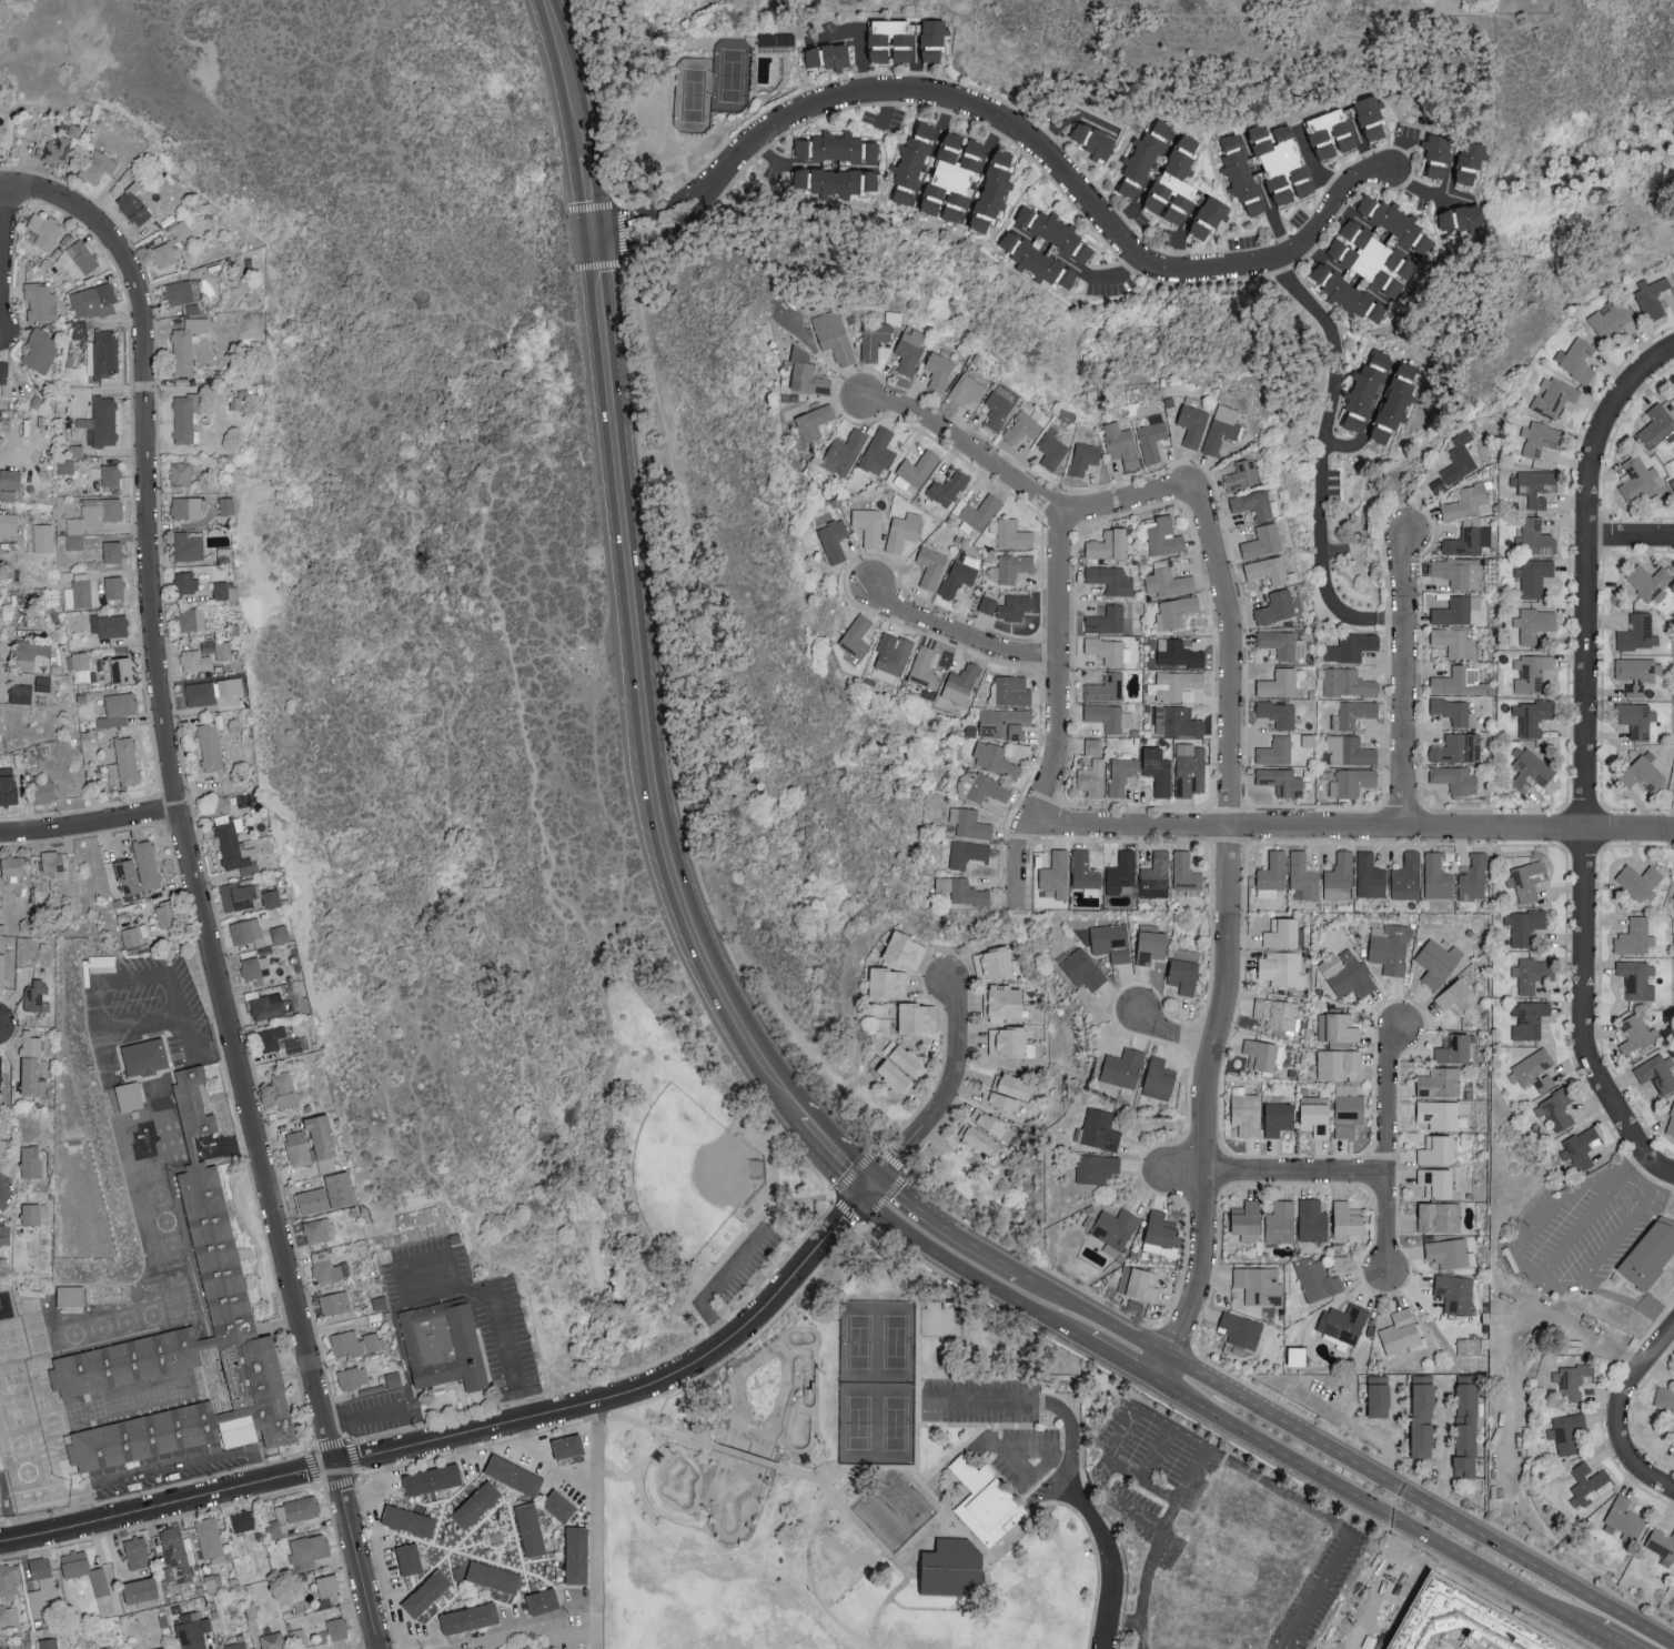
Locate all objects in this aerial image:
park: (1292, 2)
building: (776, 39)
building: (932, 39)
building: (890, 40)
building: (828, 56)
road: (565, 73)
park: (732, 76)
park: (694, 95)
road: (886, 107)
building: (1371, 115)
building: (1332, 133)
building: (1093, 140)
building: (57, 149)
road: (766, 154)
building: (1438, 154)
building: (1143, 158)
building: (1470, 160)
building: (1281, 161)
building: (856, 164)
building: (911, 164)
building: (97, 165)
road: (1058, 165)
road: (1313, 165)
building: (1241, 172)
building: (955, 178)
building: (1176, 182)
road: (1419, 184)
building: (994, 185)
road: (6, 187)
road: (588, 192)
building: (133, 204)
road: (651, 215)
road: (1125, 215)
building: (1209, 215)
building: (1462, 218)
building: (1395, 221)
building: (44, 230)
traffic signals: (593, 237)
road: (658, 237)
building: (171, 244)
building: (1019, 245)
road: (1178, 252)
road: (6, 253)
building: (82, 255)
building: (1373, 261)
road: (1118, 273)
building: (179, 291)
building: (1349, 294)
building: (1653, 296)
building: (40, 300)
building: (93, 300)
road: (597, 305)
building: (894, 316)
building: (1613, 319)
building: (834, 334)
building: (874, 339)
building: (186, 343)
building: (910, 349)
building: (40, 350)
building: (102, 354)
building: (1577, 359)
building: (938, 370)
building: (3, 371)
building: (807, 373)
building: (4, 389)
building: (966, 390)
building: (1364, 392)
building: (1553, 396)
building: (997, 409)
building: (185, 418)
building: (814, 421)
building: (101, 422)
building: (1026, 424)
building: (1192, 424)
building: (1656, 426)
building: (1221, 428)
building: (1152, 436)
building: (1541, 439)
building: (1121, 444)
building: (1051, 450)
building: (878, 451)
building: (844, 452)
building: (1085, 458)
building: (1459, 459)
road: (1317, 462)
building: (65, 465)
building: (916, 471)
building: (180, 472)
building: (110, 474)
building: (1242, 474)
building: (1637, 477)
building: (1672, 482)
building: (9, 483)
road: (1019, 484)
building: (1534, 485)
building: (947, 487)
building: (1468, 501)
building: (1253, 502)
building: (226, 504)
building: (186, 507)
building: (977, 512)
building: (91, 519)
building: (8, 524)
building: (868, 525)
park: (417, 529)
building: (902, 531)
building: (1012, 533)
building: (1163, 536)
building: (43, 537)
building: (1534, 537)
road: (1632, 539)
building: (834, 540)
building: (1262, 541)
building: (1468, 541)
building: (1109, 544)
building: (186, 546)
building: (112, 551)
building: (930, 566)
building: (1011, 566)
building: (1269, 570)
road: (1405, 571)
building: (1458, 572)
building: (960, 574)
building: (1533, 576)
building: (1110, 579)
building: (1167, 580)
building: (1650, 581)
building: (185, 582)
building: (114, 586)
building: (224, 590)
building: (78, 594)
building: (1007, 606)
building: (1275, 606)
building: (1456, 610)
building: (1174, 612)
building: (191, 619)
building: (1107, 620)
building: (1534, 623)
building: (108, 624)
building: (1637, 632)
road: (957, 633)
building: (857, 636)
building: (1454, 642)
building: (1282, 643)
building: (208, 645)
building: (1351, 646)
building: (223, 650)
building: (1106, 650)
building: (30, 652)
building: (893, 653)
building: (1178, 653)
building: (194, 661)
building: (102, 664)
building: (924, 667)
building: (1531, 672)
building: (1636, 673)
road: (517, 682)
building: (1348, 682)
building: (1460, 682)
building: (42, 683)
building: (1279, 683)
building: (960, 684)
building: (230, 685)
building: (1176, 685)
building: (1106, 687)
building: (1012, 690)
building: (20, 693)
building: (201, 693)
building: (117, 710)
building: (1454, 711)
building: (1278, 713)
building: (1353, 713)
road: (1059, 716)
building: (1109, 716)
building: (1532, 716)
building: (1635, 718)
building: (1177, 721)
road: (1406, 722)
building: (1004, 723)
building: (210, 746)
building: (1093, 746)
road: (646, 748)
building: (1458, 748)
building: (1275, 751)
building: (1349, 751)
building: (995, 760)
building: (124, 761)
road: (1589, 762)
building: (1190, 768)
building: (1158, 771)
building: (1532, 771)
building: (1643, 772)
building: (1121, 774)
building: (1092, 778)
building: (1455, 778)
building: (1281, 781)
building: (1352, 782)
building: (8, 785)
building: (981, 787)
building: (44, 792)
road: (177, 795)
building: (969, 823)
road: (89, 825)
road: (1352, 829)
building: (234, 846)
building: (967, 853)
building: (53, 863)
building: (12, 864)
building: (147, 864)
building: (1083, 871)
building: (1121, 872)
building: (1056, 874)
building: (1186, 875)
building: (1272, 875)
building: (128, 876)
building: (1156, 876)
building: (1370, 876)
building: (1408, 876)
building: (1303, 877)
building: (1339, 877)
building: (1438, 877)
building: (1474, 877)
building: (1526, 879)
building: (1640, 881)
building: (962, 891)
building: (238, 894)
building: (272, 898)
building: (1673, 898)
building: (165, 914)
road: (1233, 922)
building: (1523, 926)
building: (245, 929)
building: (280, 933)
building: (1283, 934)
building: (131, 936)
building: (1635, 936)
building: (1111, 941)
building: (1150, 944)
building: (1391, 948)
building: (905, 951)
building: (1438, 962)
building: (102, 963)
building: (994, 964)
building: (255, 967)
building: (1083, 968)
building: (1281, 968)
building: (1, 971)
building: (1347, 974)
building: (1532, 974)
building: (1183, 975)
building: (1637, 978)
road: (127, 979)
building: (887, 983)
building: (34, 996)
building: (1456, 996)
parking lot: (145, 1003)
building: (1002, 1003)
park: (1672, 1003)
building: (269, 1006)
building: (1277, 1014)
building: (917, 1018)
building: (1529, 1019)
building: (1338, 1027)
road: (1173, 1032)
building: (1636, 1035)
building: (271, 1037)
building: (1007, 1042)
building: (30, 1044)
building: (293, 1045)
building: (1454, 1048)
building: (1263, 1054)
building: (144, 1056)
building: (908, 1060)
building: (1337, 1063)
building: (1122, 1067)
building: (0, 1069)
building: (1533, 1070)
building: (1657, 1073)
building: (895, 1076)
building: (32, 1078)
building: (1159, 1078)
building: (1439, 1082)
building: (283, 1088)
building: (1007, 1093)
road: (947, 1095)
building: (131, 1102)
building: (193, 1104)
building: (1555, 1110)
building: (1247, 1114)
building: (1348, 1114)
building: (1439, 1114)
building: (1278, 1118)
building: (1315, 1119)
building: (988, 1122)
building: (1671, 1122)
building: (1098, 1129)
building: (978, 1139)
building: (322, 1142)
road: (821, 1145)
building: (3, 1146)
building: (298, 1148)
building: (1581, 1148)
road: (1390, 1149)
road: (876, 1150)
building: (1436, 1150)
building: (30, 1162)
road: (1631, 1164)
building: (1097, 1167)
park: (680, 1174)
road: (1184, 1174)
road: (1298, 1174)
park: (693, 1175)
building: (1436, 1182)
traffic signals: (870, 1187)
building: (311, 1196)
road: (779, 1201)
building: (33, 1214)
building: (1439, 1215)
building: (1247, 1219)
building: (1312, 1219)
building: (1348, 1219)
building: (1280, 1221)
road: (944, 1224)
building: (1115, 1228)
building: (319, 1229)
parking lot: (1581, 1231)
building: (1160, 1233)
building: (4, 1234)
road: (1616, 1240)
building: (1450, 1251)
building: (1651, 1255)
road: (1524, 1263)
road: (1037, 1265)
building: (327, 1267)
parking lot: (739, 1271)
road: (965, 1271)
building: (1123, 1278)
building: (1317, 1278)
building: (1143, 1284)
building: (1259, 1284)
road: (717, 1286)
road: (462, 1288)
building: (1455, 1291)
building: (70, 1296)
building: (334, 1303)
road: (1095, 1314)
building: (1343, 1321)
road: (1516, 1326)
building: (1241, 1329)
building: (1400, 1330)
building: (355, 1343)
road: (1090, 1343)
building: (1465, 1345)
building: (441, 1346)
parking lot: (506, 1349)
road: (1089, 1358)
building: (188, 1359)
road: (1130, 1366)
road: (1168, 1371)
building: (352, 1378)
building: (392, 1379)
building: (1572, 1380)
park: (877, 1382)
road: (918, 1387)
building: (1378, 1395)
building: (1664, 1397)
parking lot: (980, 1400)
road: (991, 1404)
parking lot: (383, 1412)
building: (1422, 1415)
road: (1620, 1417)
road: (365, 1418)
road: (976, 1425)
building: (1465, 1425)
road: (1170, 1429)
building: (1566, 1431)
road: (472, 1436)
road: (1648, 1438)
park: (735, 1439)
road: (990, 1445)
building: (568, 1447)
road: (462, 1449)
road: (1154, 1454)
road: (954, 1455)
road: (1063, 1460)
road: (164, 1468)
parking lot: (163, 1470)
road: (549, 1470)
building: (513, 1478)
road: (1097, 1478)
road: (818, 1479)
building: (432, 1480)
road: (1419, 1481)
building: (1590, 1482)
park: (857, 1486)
building: (1511, 1488)
park: (904, 1500)
road: (1423, 1500)
building: (985, 1501)
building: (0, 1505)
road: (1127, 1506)
building: (561, 1507)
building: (476, 1508)
road: (1385, 1517)
building: (1625, 1518)
building: (243, 1519)
road: (1092, 1519)
park: (883, 1520)
building: (409, 1521)
road: (601, 1525)
road: (1335, 1526)
building: (272, 1527)
building: (531, 1531)
road: (1161, 1535)
road: (970, 1536)
road: (922, 1537)
building: (210, 1539)
building: (1661, 1544)
building: (307, 1549)
building: (137, 1552)
road: (1097, 1554)
building: (174, 1555)
road: (356, 1555)
building: (577, 1558)
building: (410, 1562)
building: (951, 1568)
building: (84, 1570)
building: (492, 1580)
building: (43, 1587)
building: (140, 1588)
building: (327, 1589)
building: (9, 1592)
building: (423, 1593)
building: (542, 1602)
road: (582, 1605)
road: (958, 1608)
building: (468, 1620)
building: (336, 1628)
building: (192, 1630)
road: (573, 1631)
road: (1141, 1636)
building: (299, 1637)
building: (272, 1640)
building: (48, 1642)
road: (409, 1642)
building: (236, 1645)
park: (827, 1646)
building: (104, 1647)
building: (527, 1647)
building: (162, 1648)

